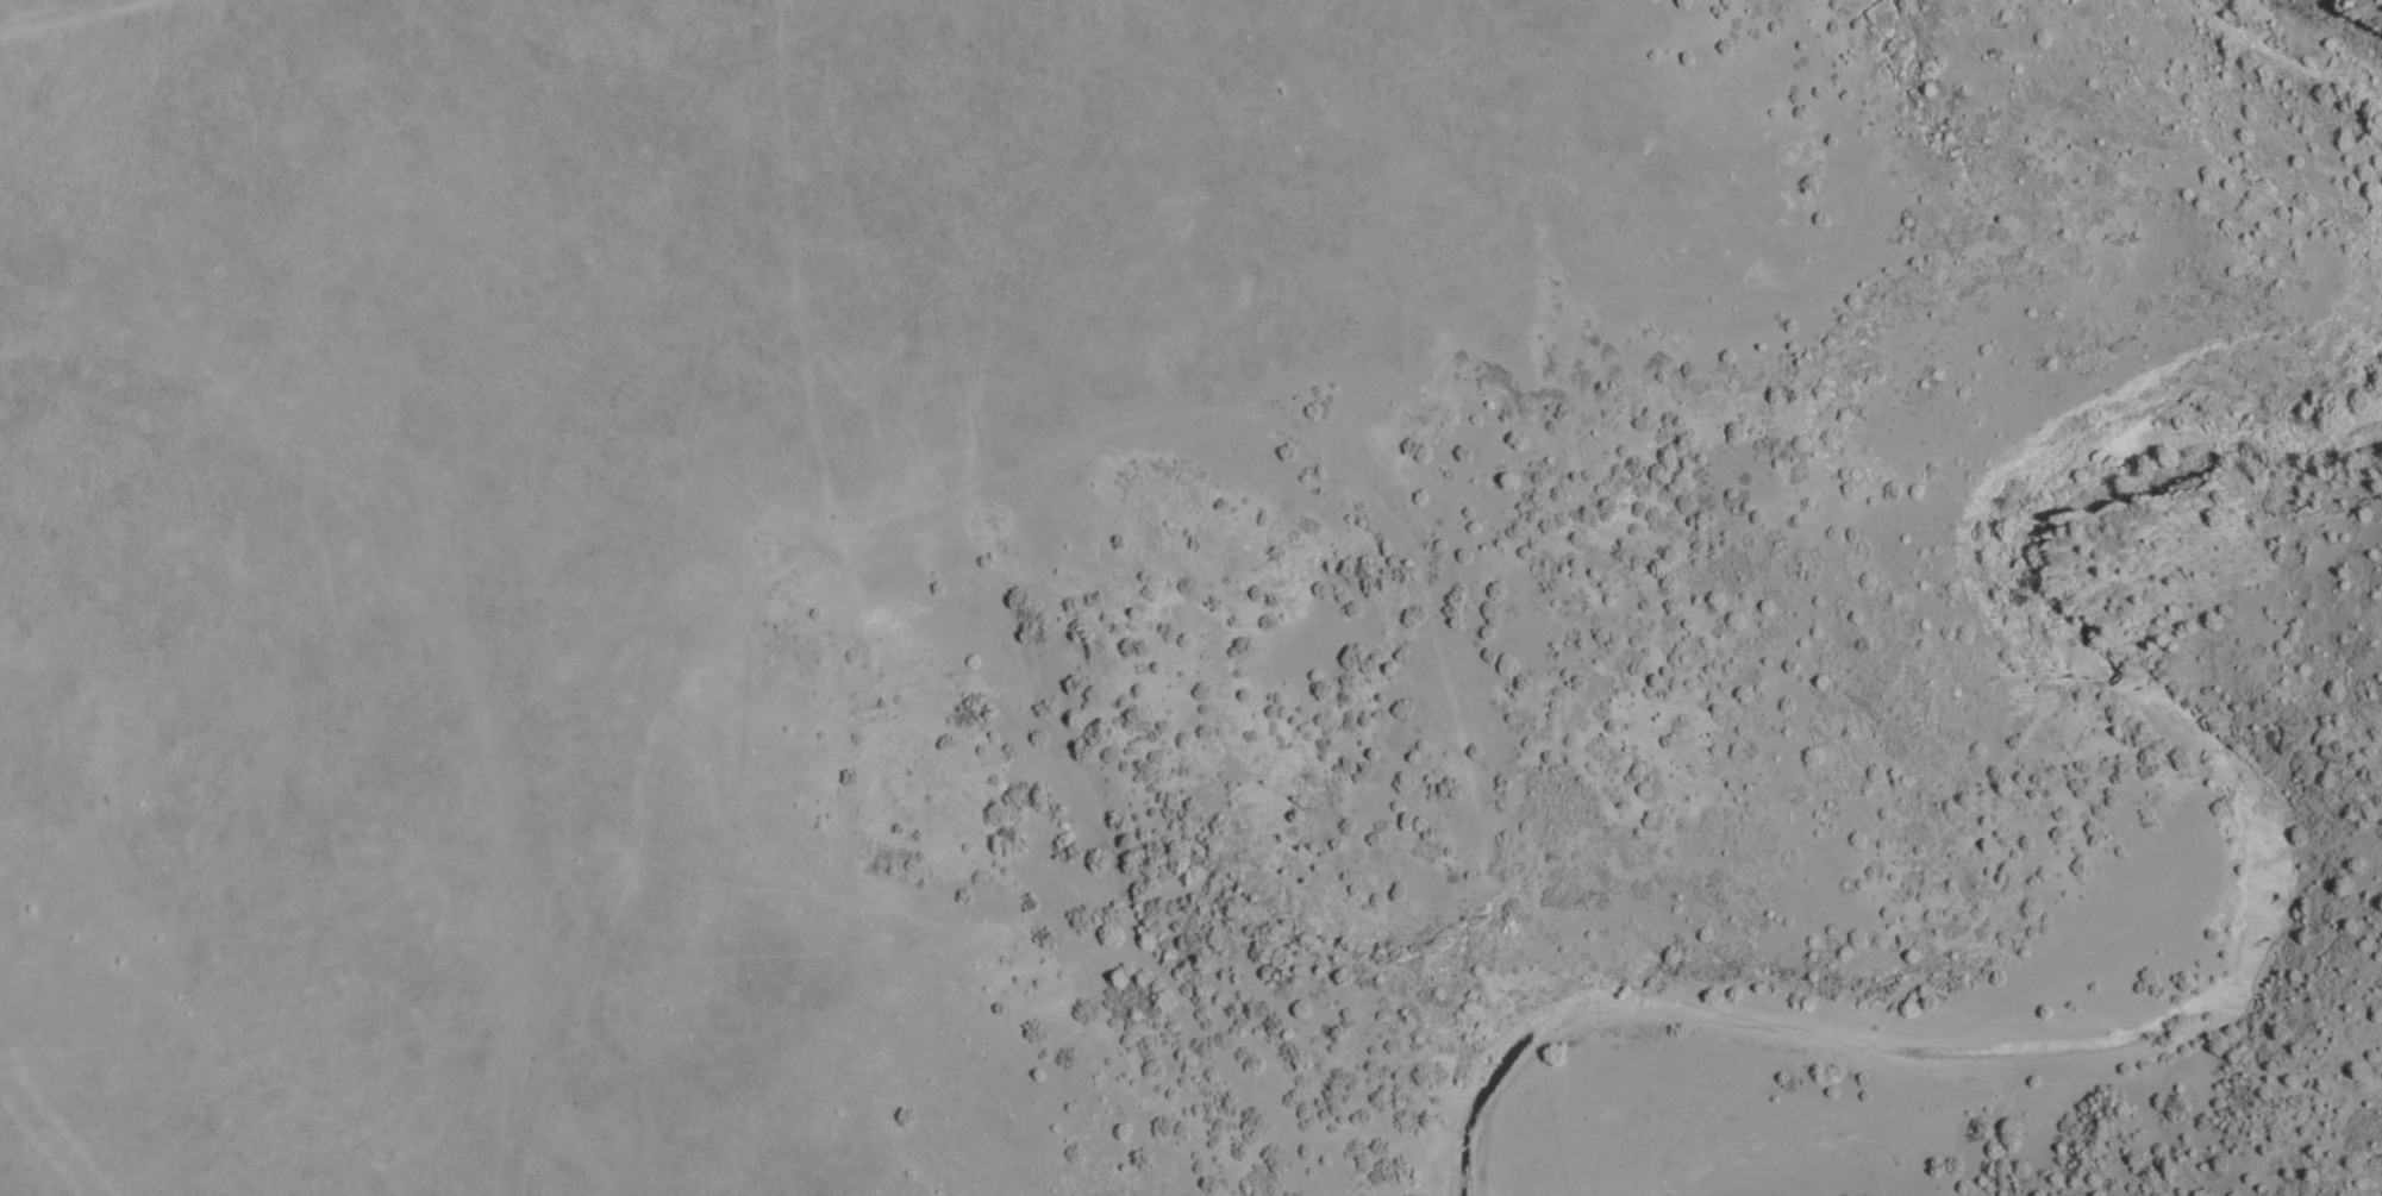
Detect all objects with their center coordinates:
road: (98, 20)
road: (1115, 544)
road: (649, 599)

